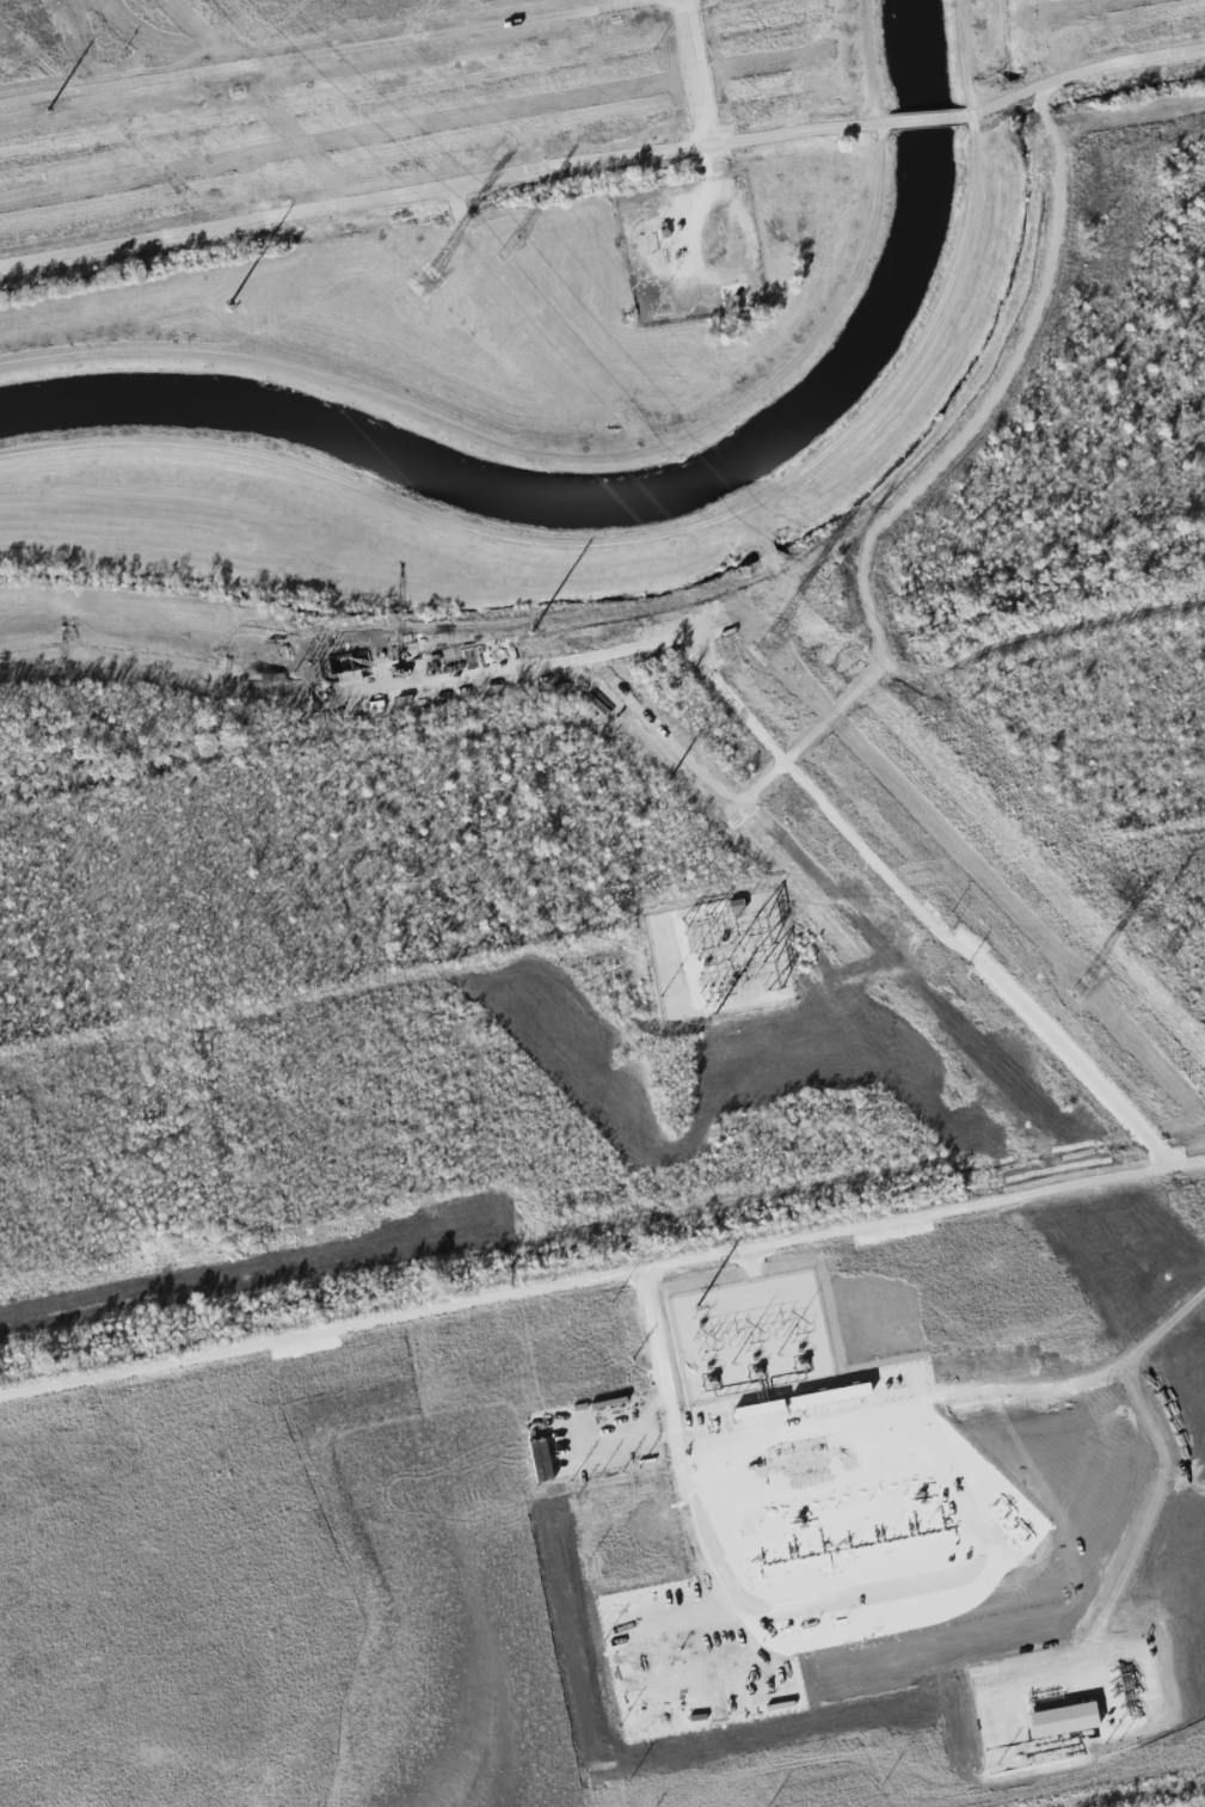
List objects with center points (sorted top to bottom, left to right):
road: (1081, 73)
road: (929, 117)
road: (447, 192)
power tower: (509, 251)
power tower: (422, 287)
power tower: (824, 593)
power tower: (761, 650)
power tower: (1143, 932)
power substation: (718, 956)
power tower: (1167, 958)
power tower: (1081, 991)
road: (602, 1264)
road: (1062, 1377)

